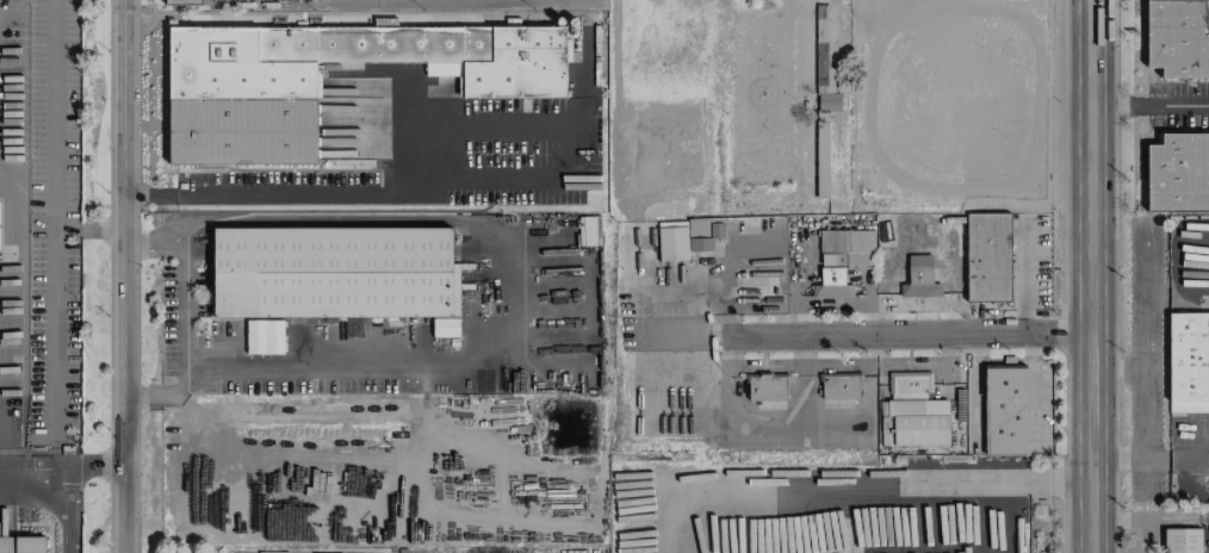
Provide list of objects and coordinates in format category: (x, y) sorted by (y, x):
building: (182, 2)
building: (1177, 38)
road: (1151, 105)
building: (823, 108)
road: (1093, 166)
building: (1177, 174)
road: (464, 182)
road: (341, 220)
road: (86, 228)
building: (588, 231)
building: (688, 238)
building: (987, 259)
road: (186, 269)
building: (334, 274)
road: (123, 275)
building: (919, 279)
road: (1142, 323)
building: (254, 337)
road: (910, 337)
road: (358, 356)
building: (1189, 361)
road: (1097, 380)
building: (839, 387)
building: (765, 390)
building: (1005, 411)
building: (912, 414)
road: (1153, 465)
road: (95, 468)
road: (68, 477)
road: (891, 484)
road: (1092, 490)
road: (1152, 517)
building: (1182, 541)
building: (21, 545)

